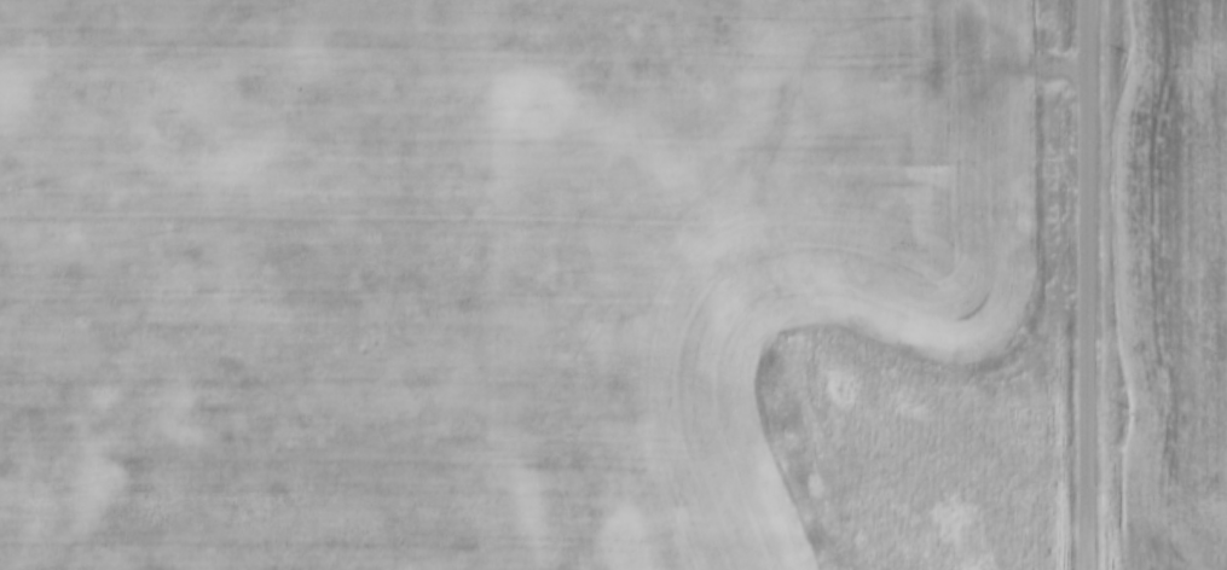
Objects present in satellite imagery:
road: (1087, 285)

